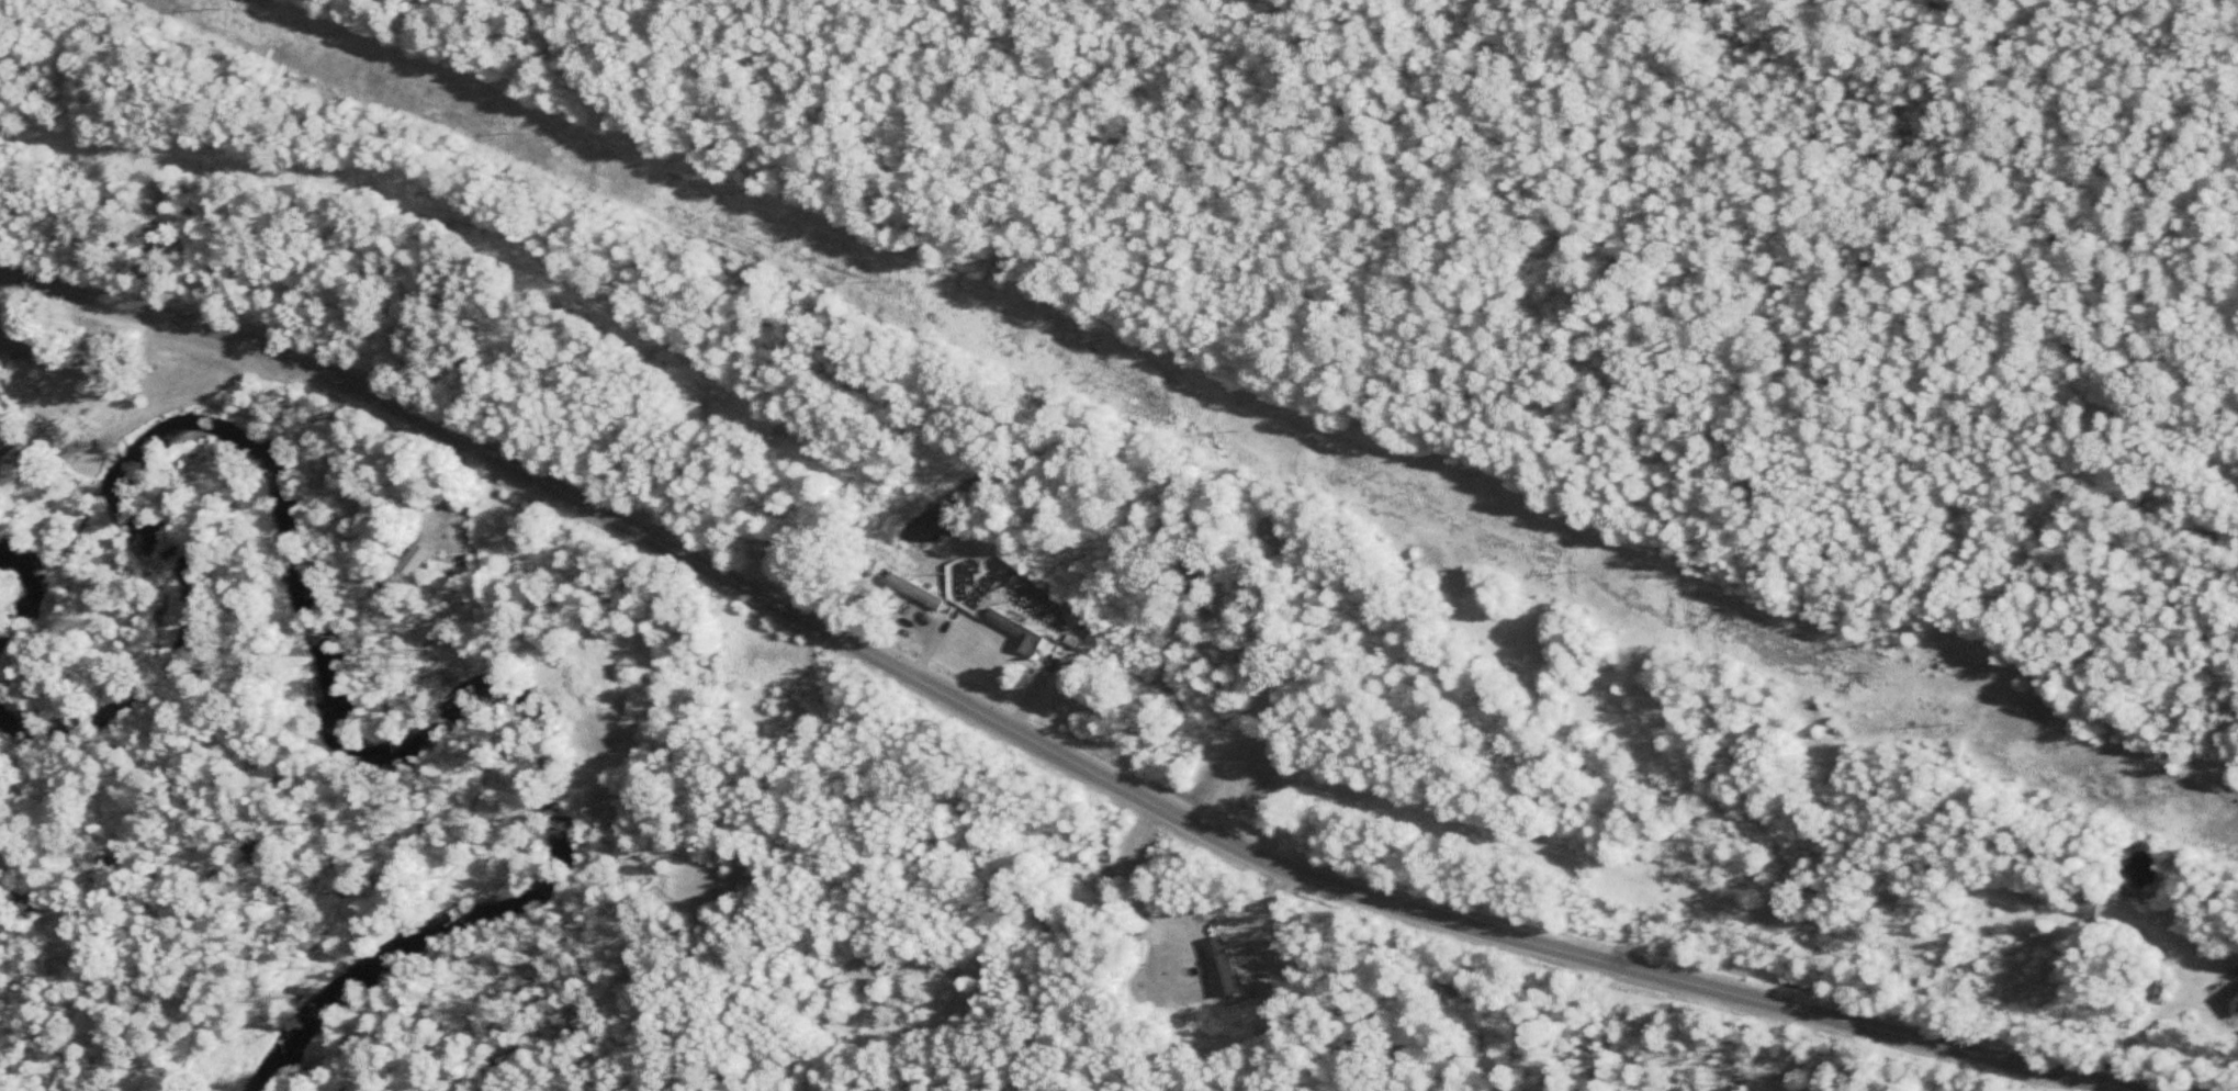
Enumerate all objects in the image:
building: (14, 341)
river: (27, 583)
building: (1015, 633)
river: (326, 674)
road: (1034, 746)
building: (2084, 902)
building: (1214, 955)
building: (2158, 991)
building: (2228, 999)

